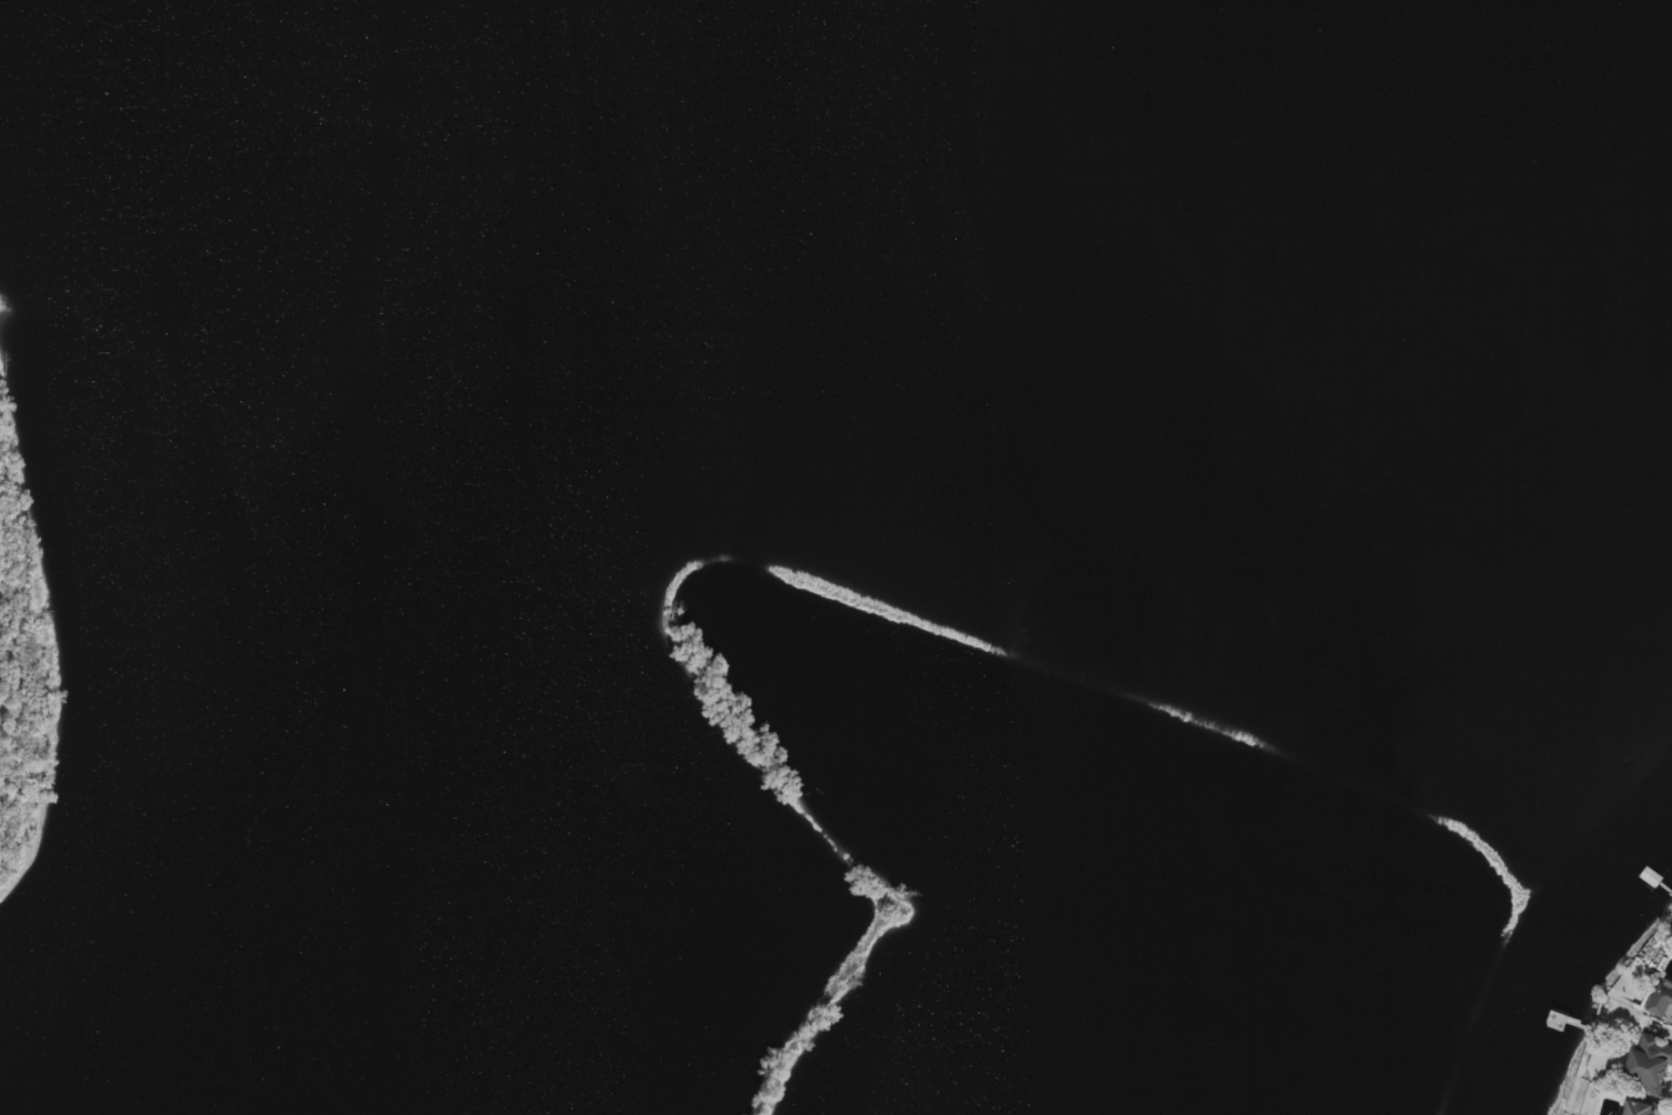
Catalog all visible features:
building: (1661, 1004)
building: (1650, 1066)
building: (1639, 1109)

